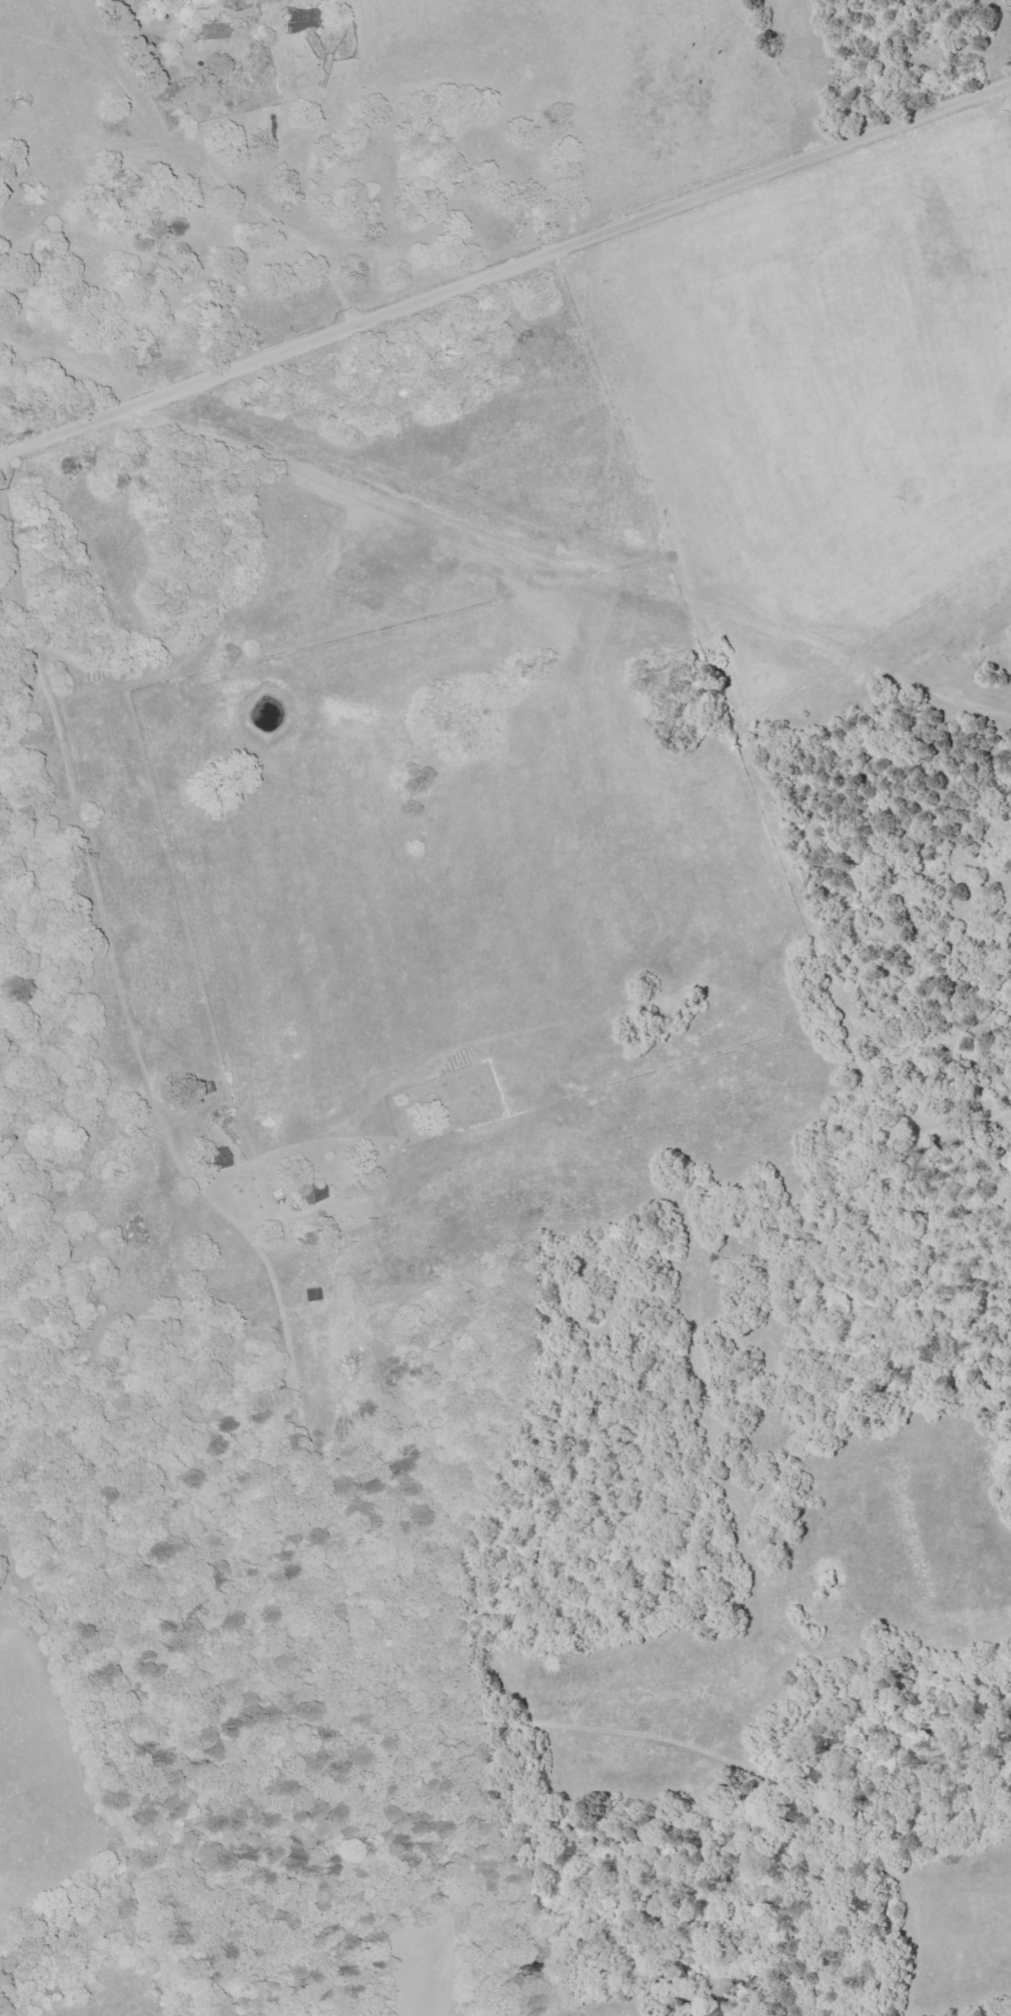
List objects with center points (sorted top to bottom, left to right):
building: (303, 21)
building: (213, 31)
road: (211, 171)
road: (505, 269)
road: (84, 1032)
building: (218, 1159)
building: (314, 1197)

